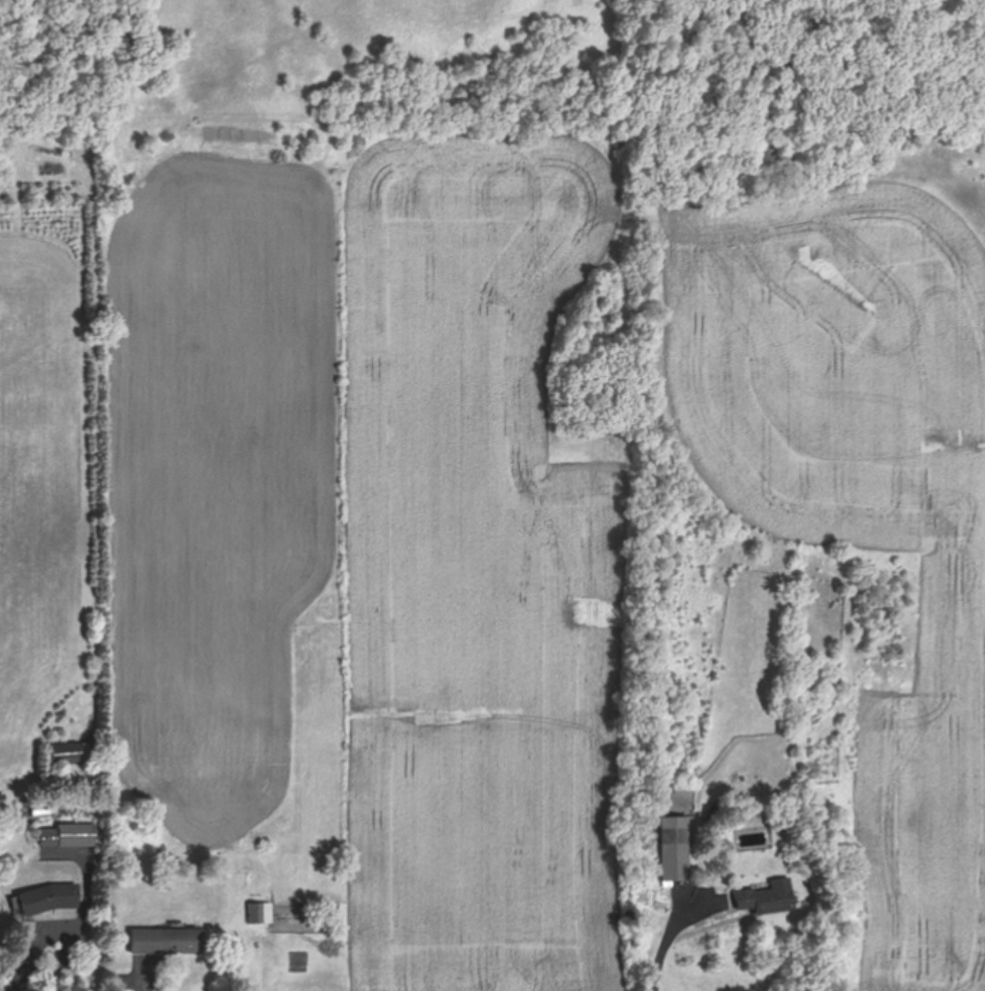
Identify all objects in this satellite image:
building: (66, 752)
building: (67, 835)
building: (674, 848)
building: (50, 898)
building: (767, 898)
building: (253, 913)
building: (167, 941)
road: (664, 942)
road: (31, 959)

